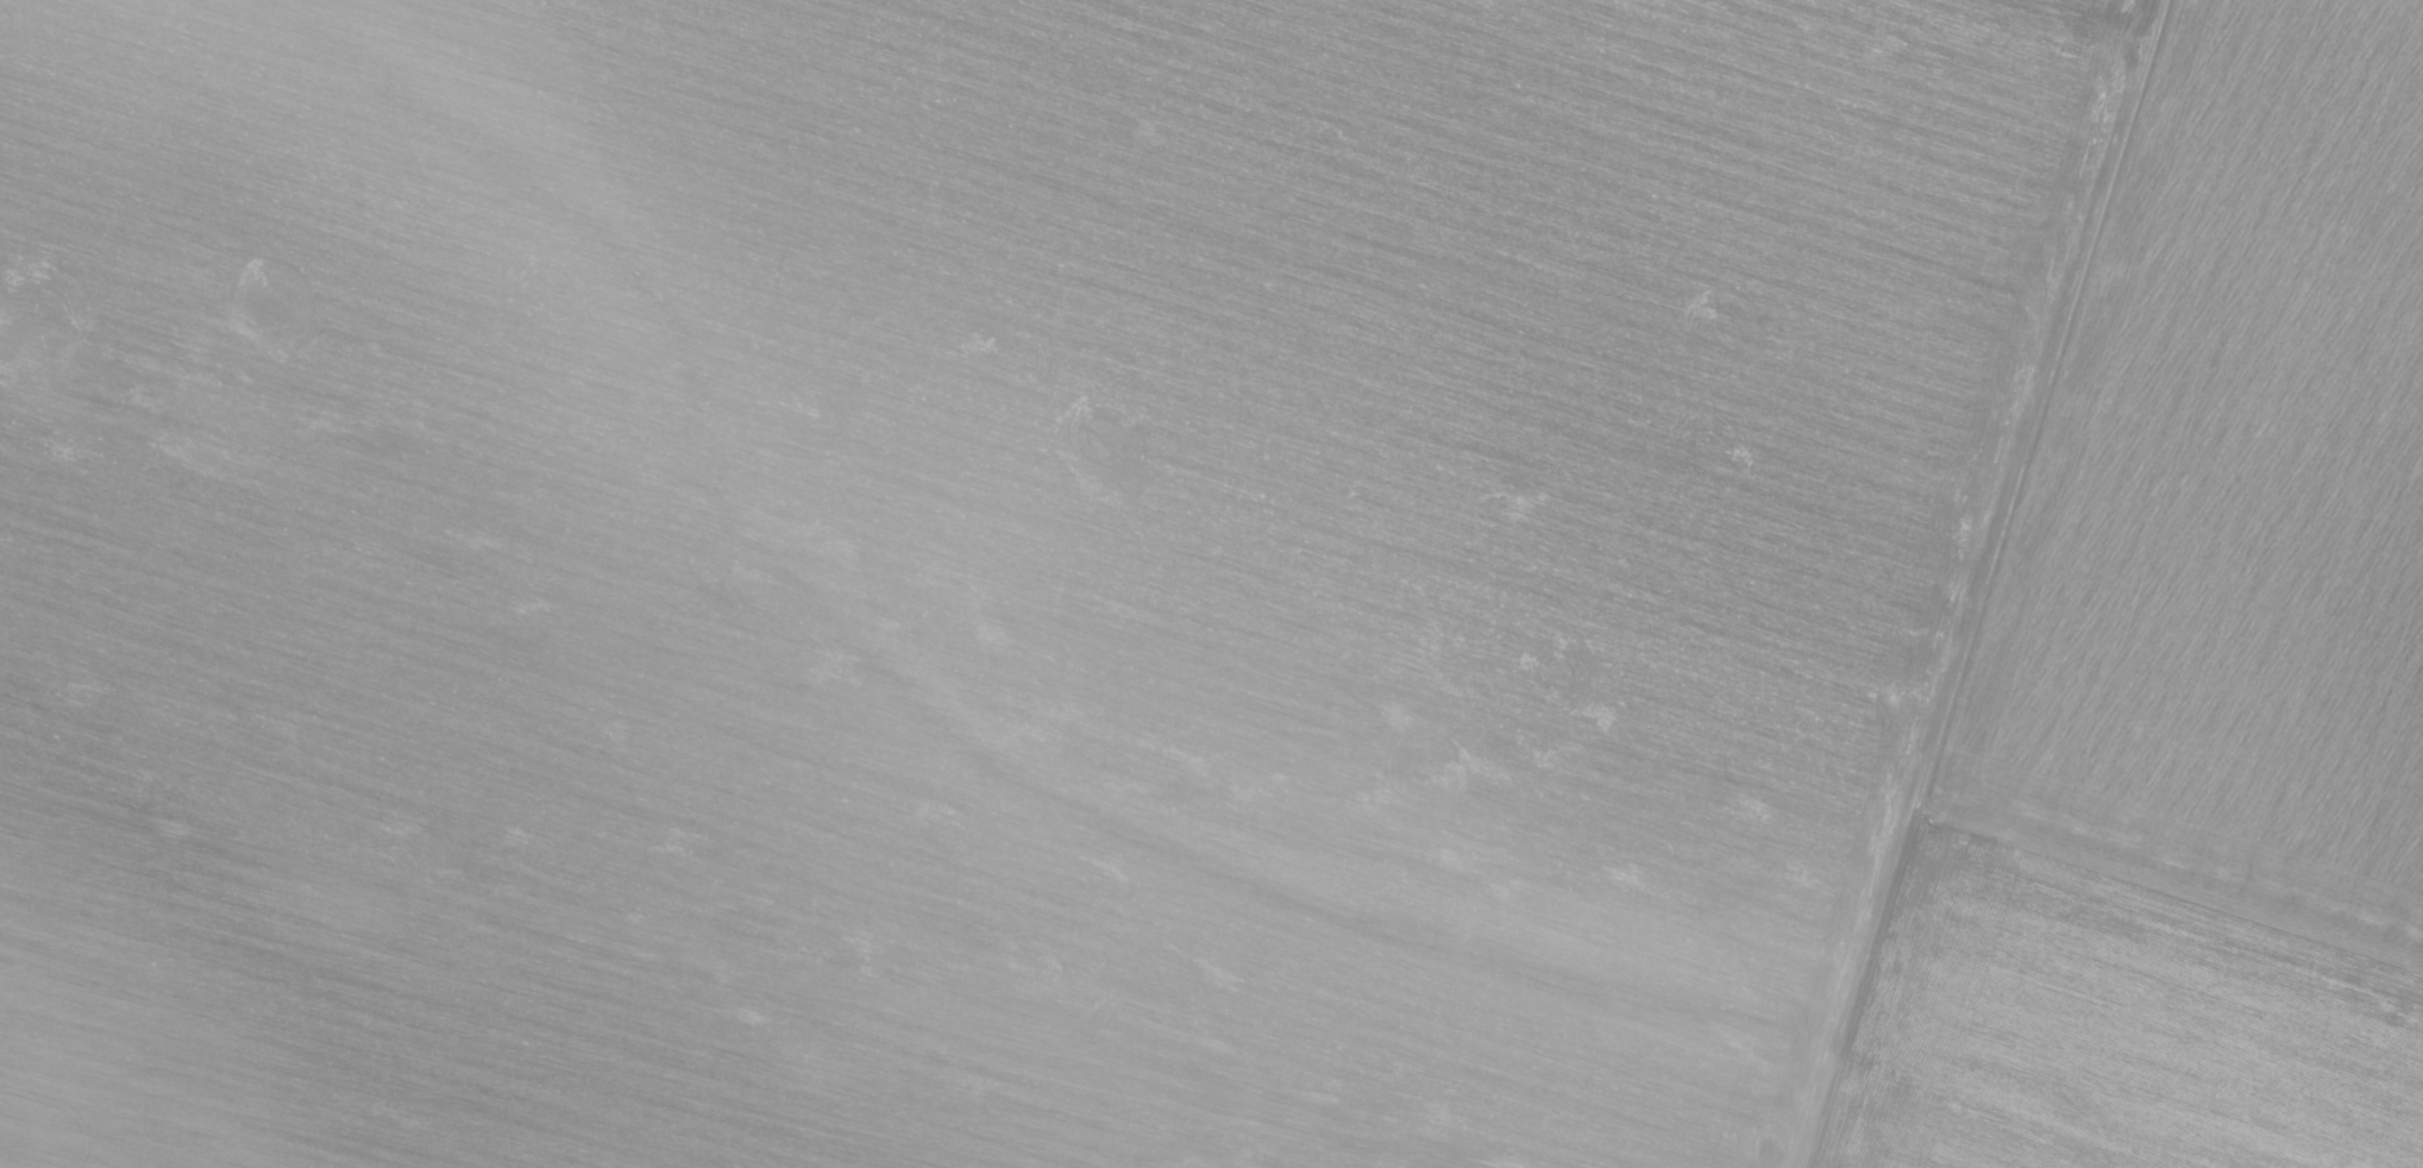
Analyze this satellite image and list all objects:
road: (1979, 584)

